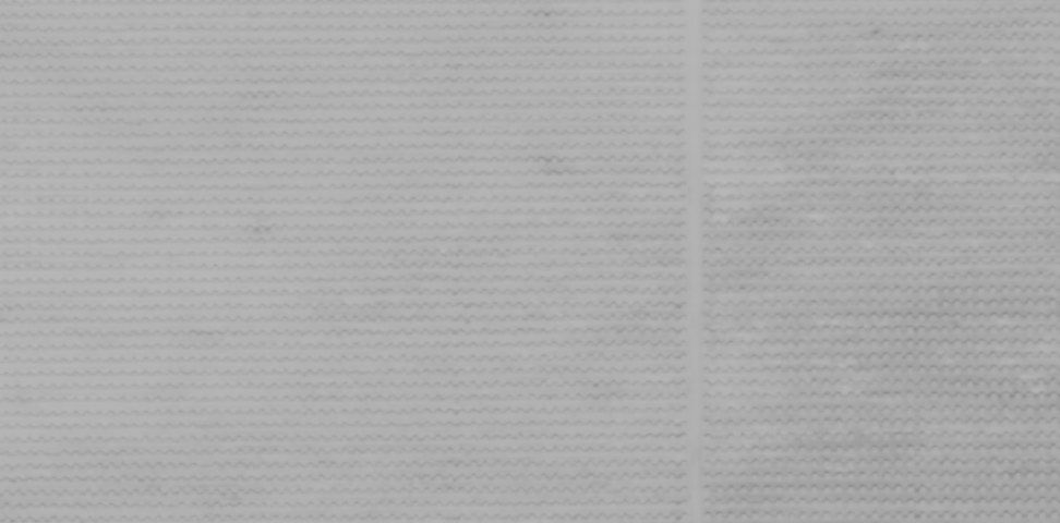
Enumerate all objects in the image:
road: (686, 261)

